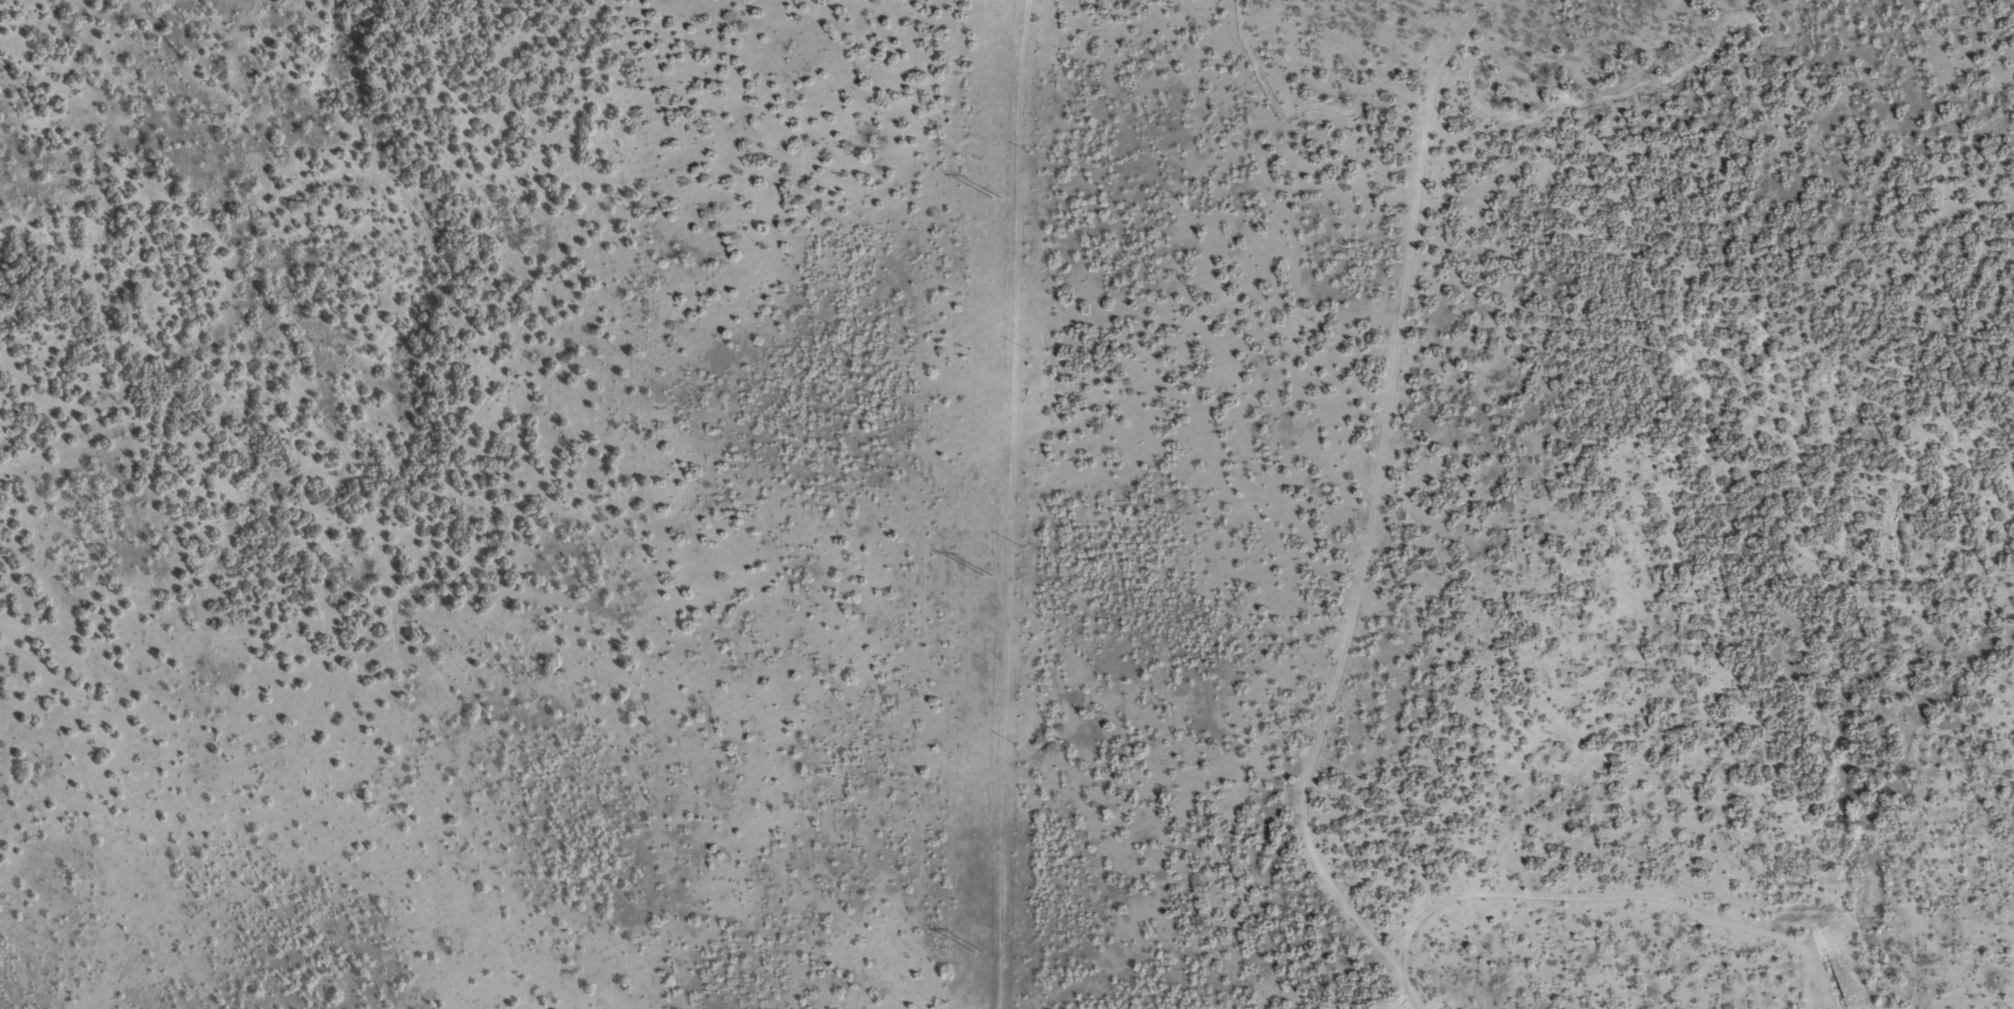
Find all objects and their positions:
power tower: (998, 197)
road: (1356, 510)
power tower: (989, 574)
road: (1592, 885)
power tower: (980, 951)

